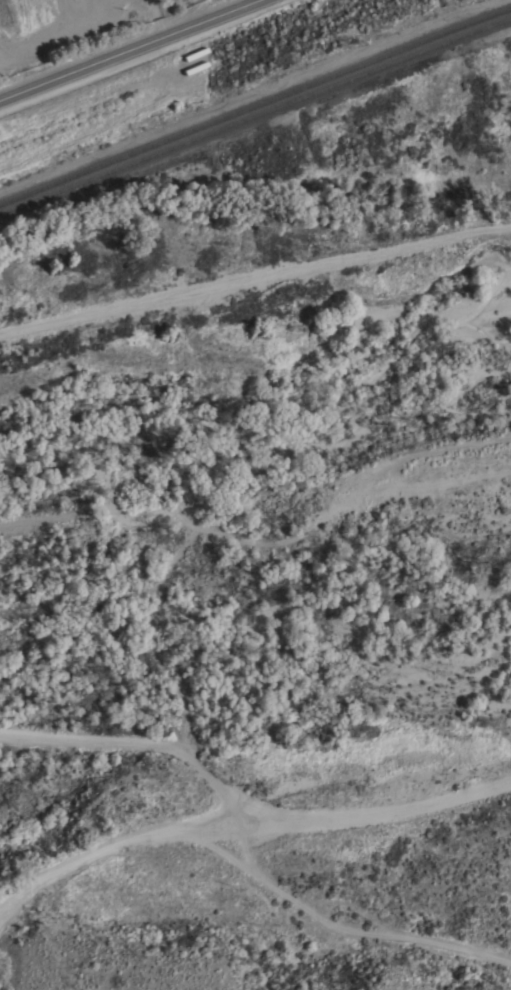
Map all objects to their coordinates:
road: (129, 50)
railway: (255, 105)
railway: (255, 116)
road: (253, 271)
road: (422, 452)
road: (415, 489)
road: (235, 809)
road: (248, 810)

